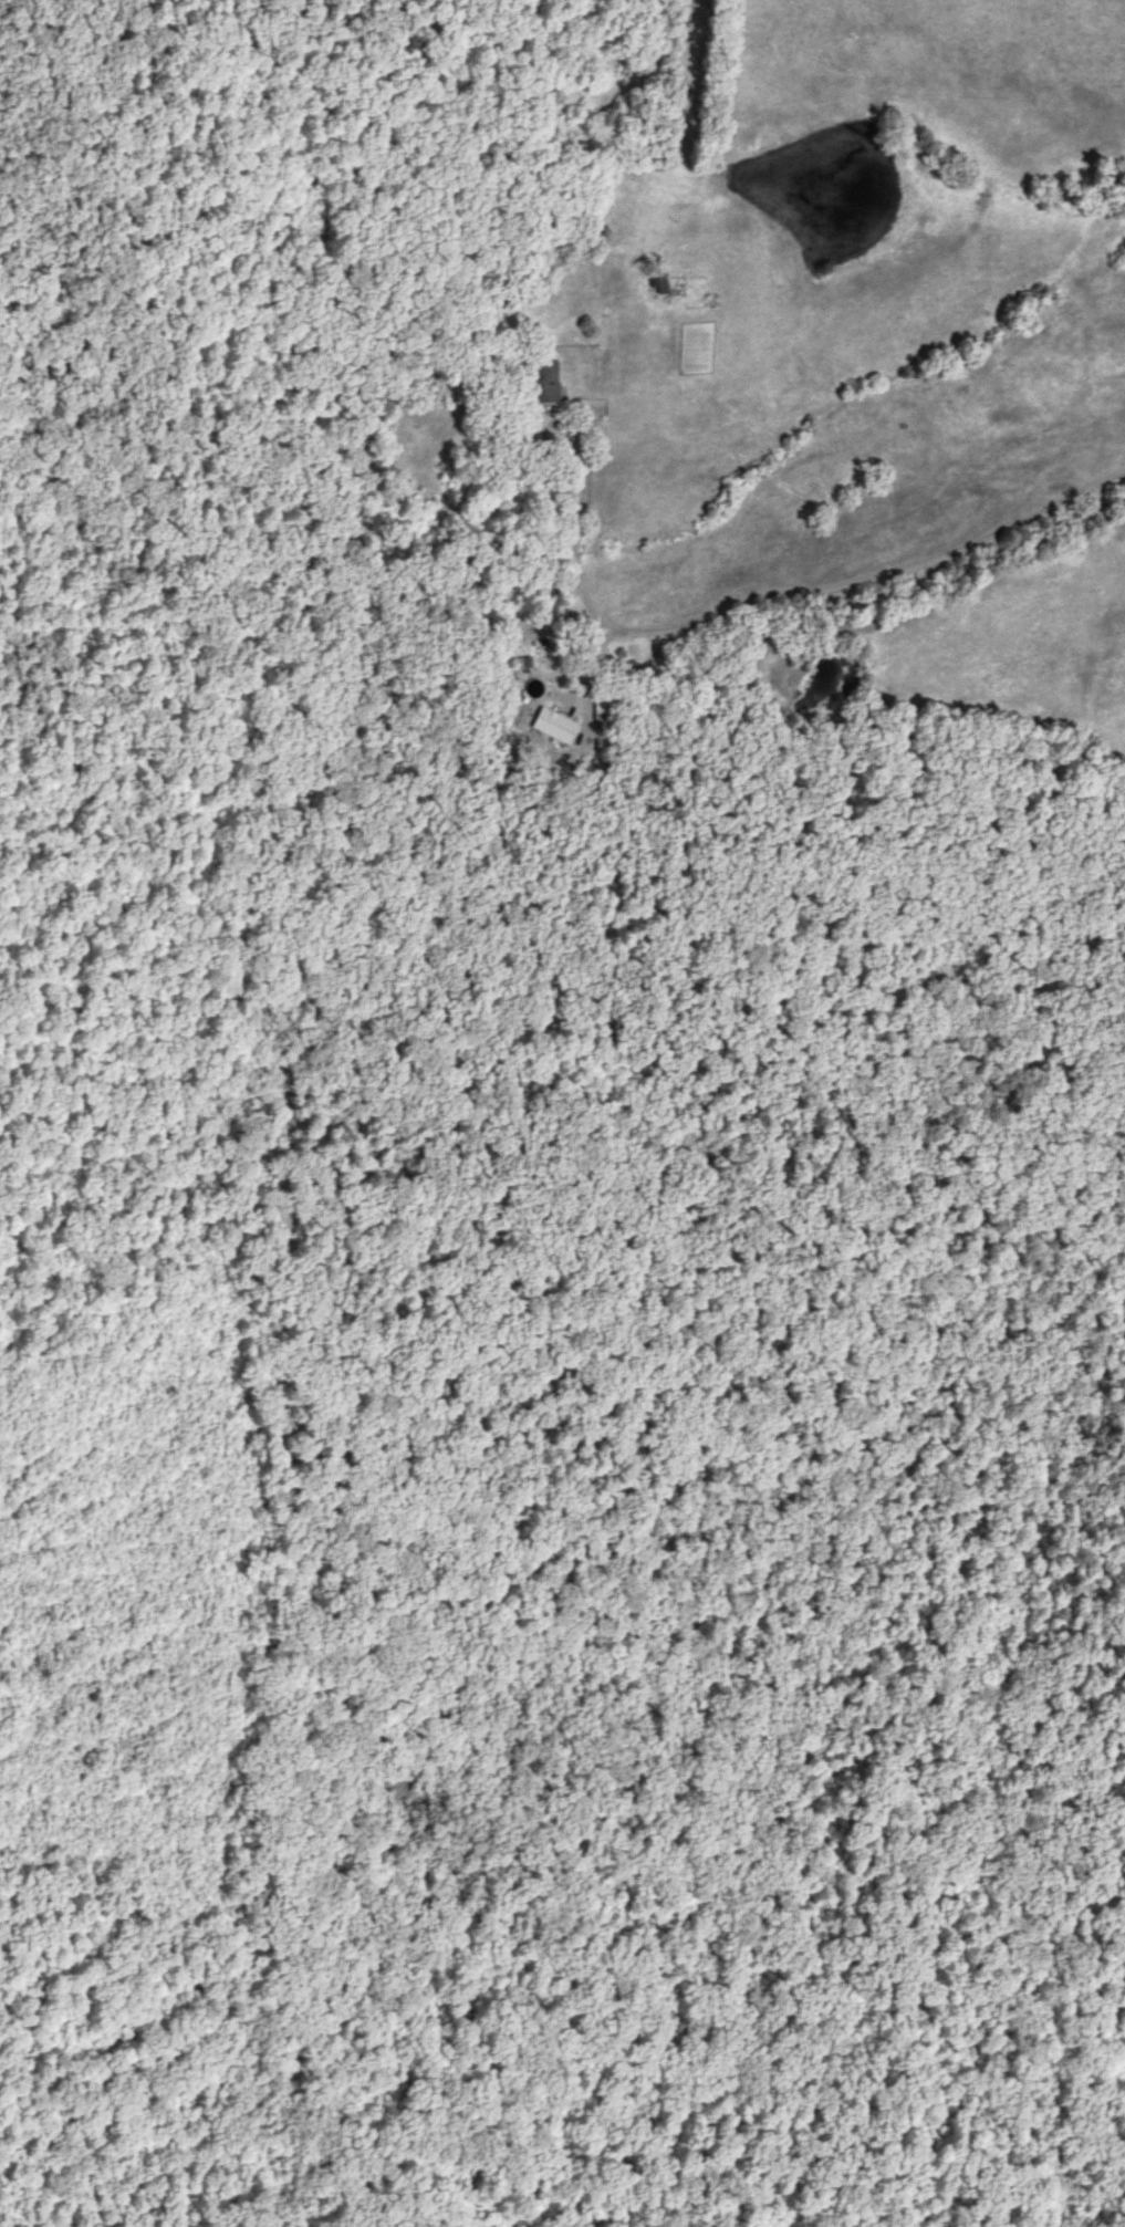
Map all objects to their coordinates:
crop: (924, 80)
road: (613, 157)
building: (662, 285)
building: (548, 381)
building: (549, 652)
building: (522, 663)
building: (604, 710)

